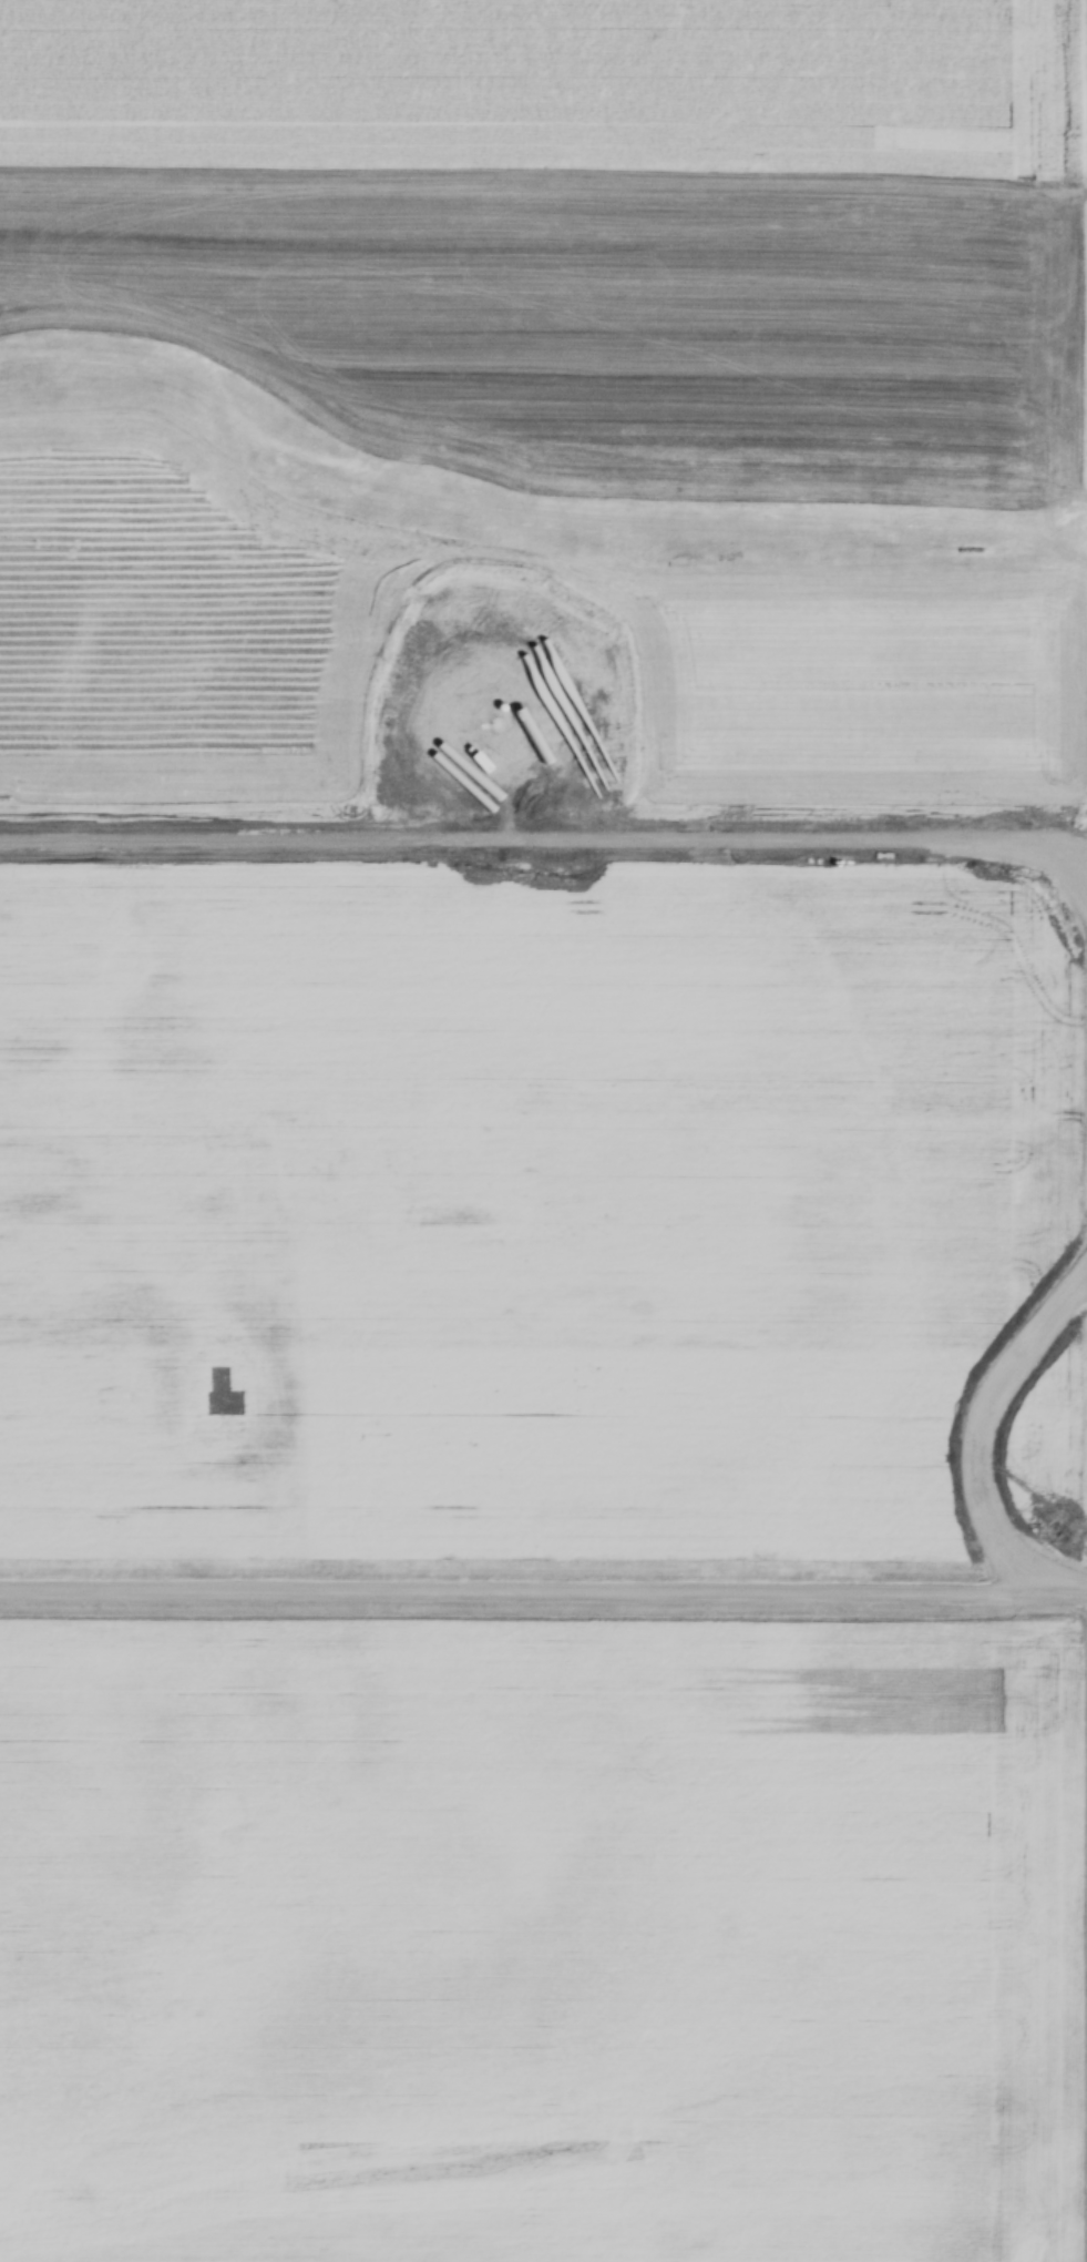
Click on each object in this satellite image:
wind turbine: (484, 724)
road: (543, 1590)

